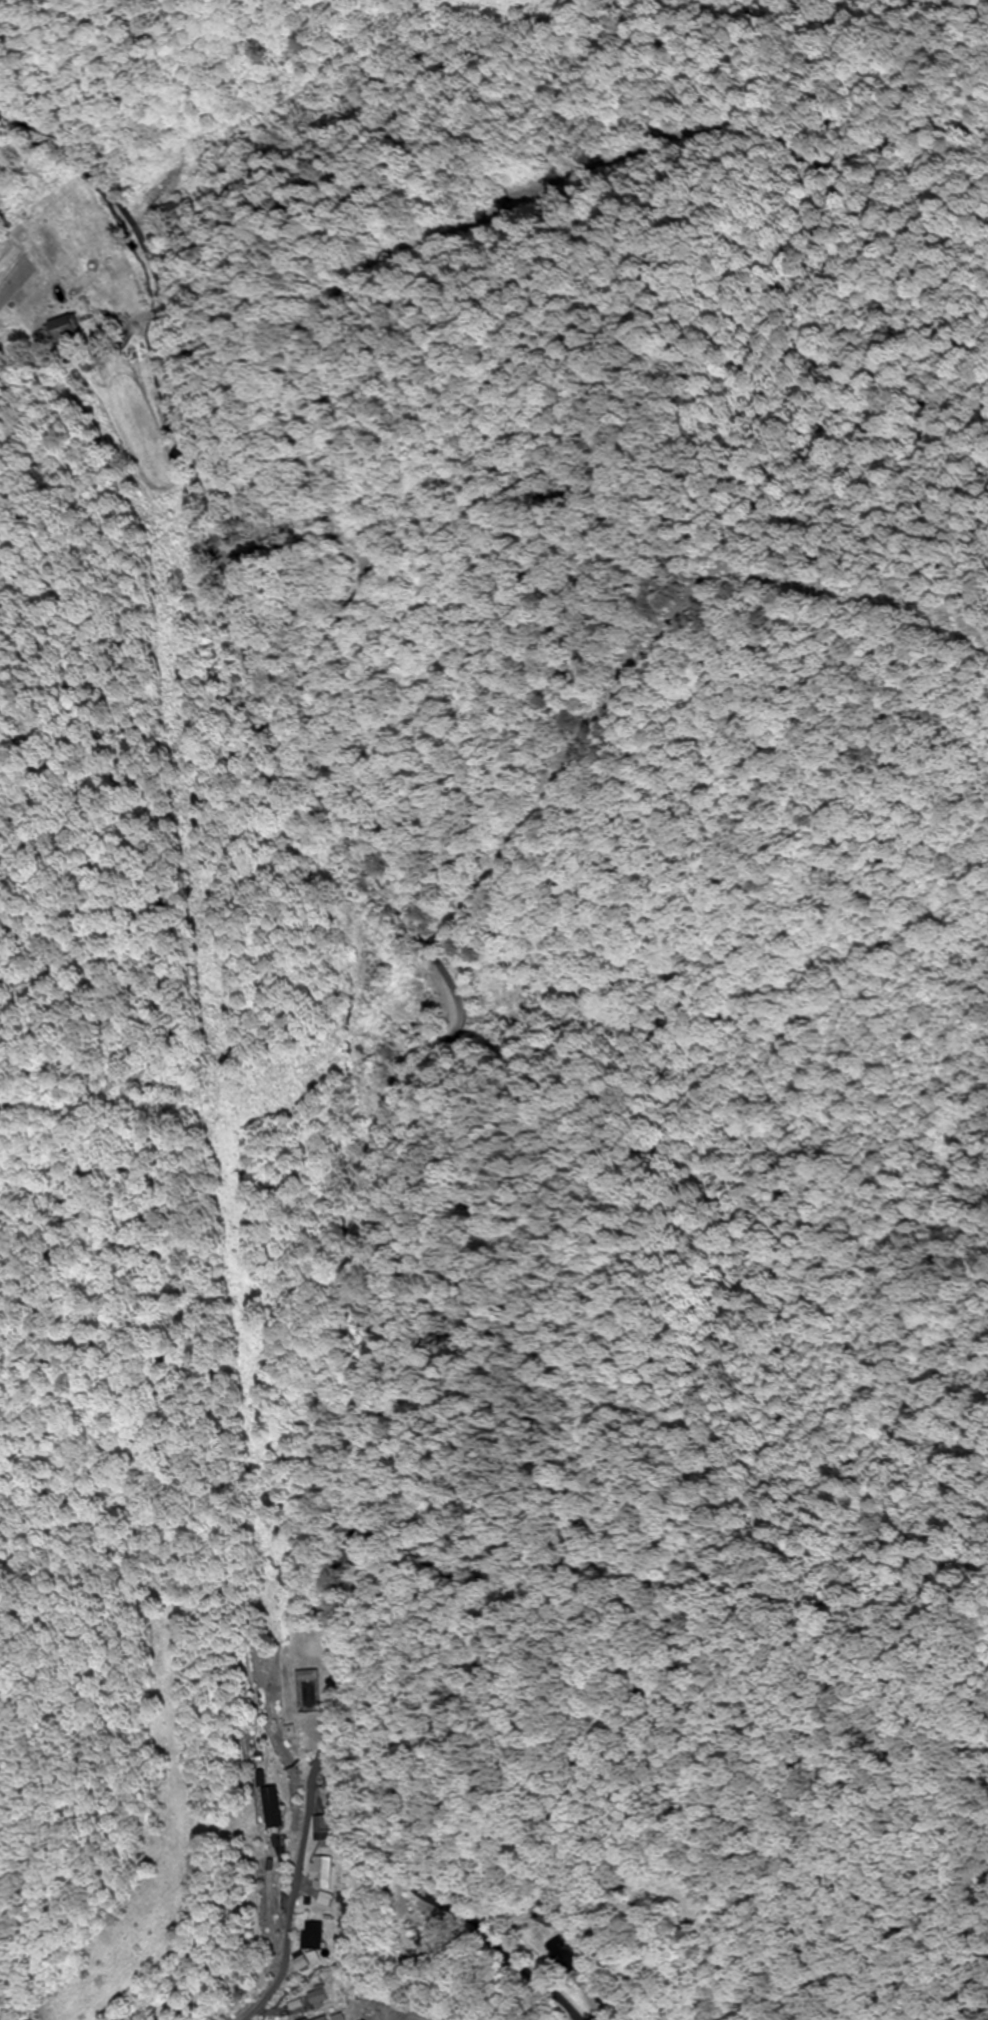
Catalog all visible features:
building: (177, 213)
building: (57, 329)
road: (451, 1042)
building: (309, 1676)
building: (273, 1809)
road: (307, 1830)
building: (324, 1831)
building: (324, 1873)
building: (554, 1920)
building: (317, 1937)
building: (427, 1940)
building: (572, 1956)
building: (321, 1998)
building: (334, 2018)

